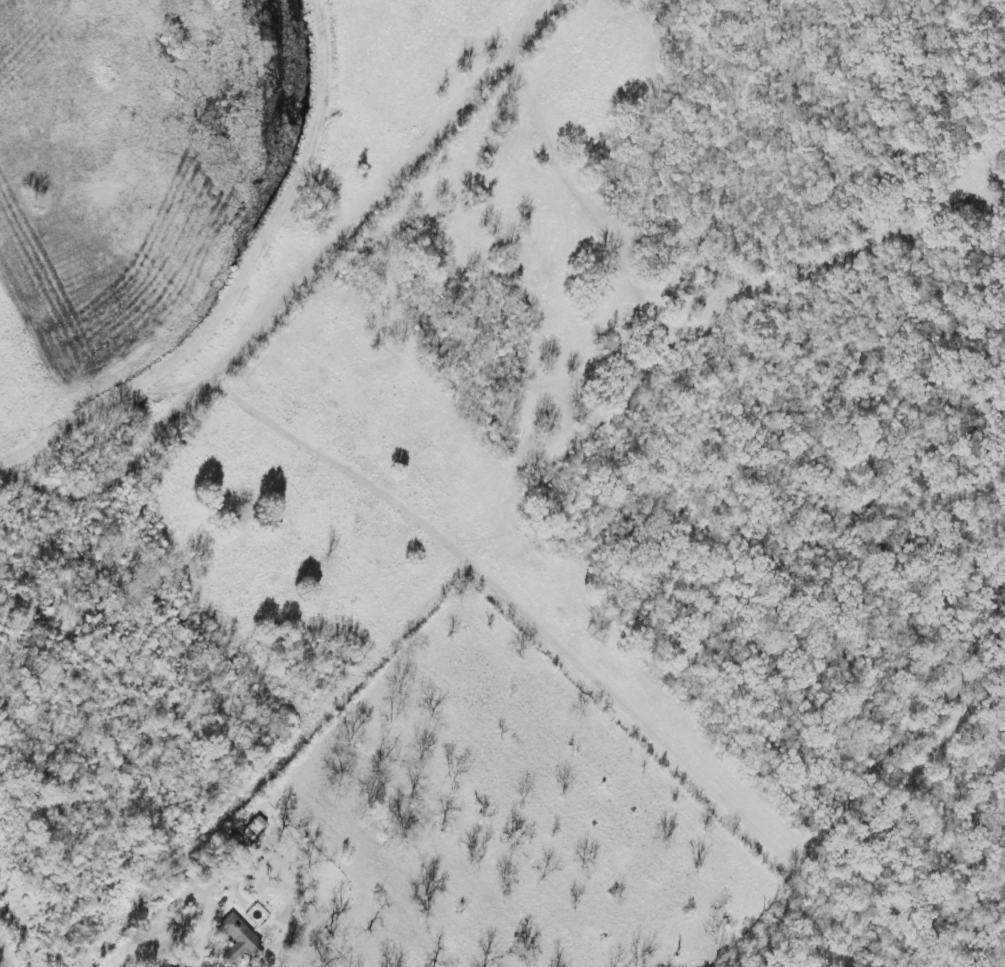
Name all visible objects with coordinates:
building: (252, 827)
building: (233, 941)
road: (2, 960)

